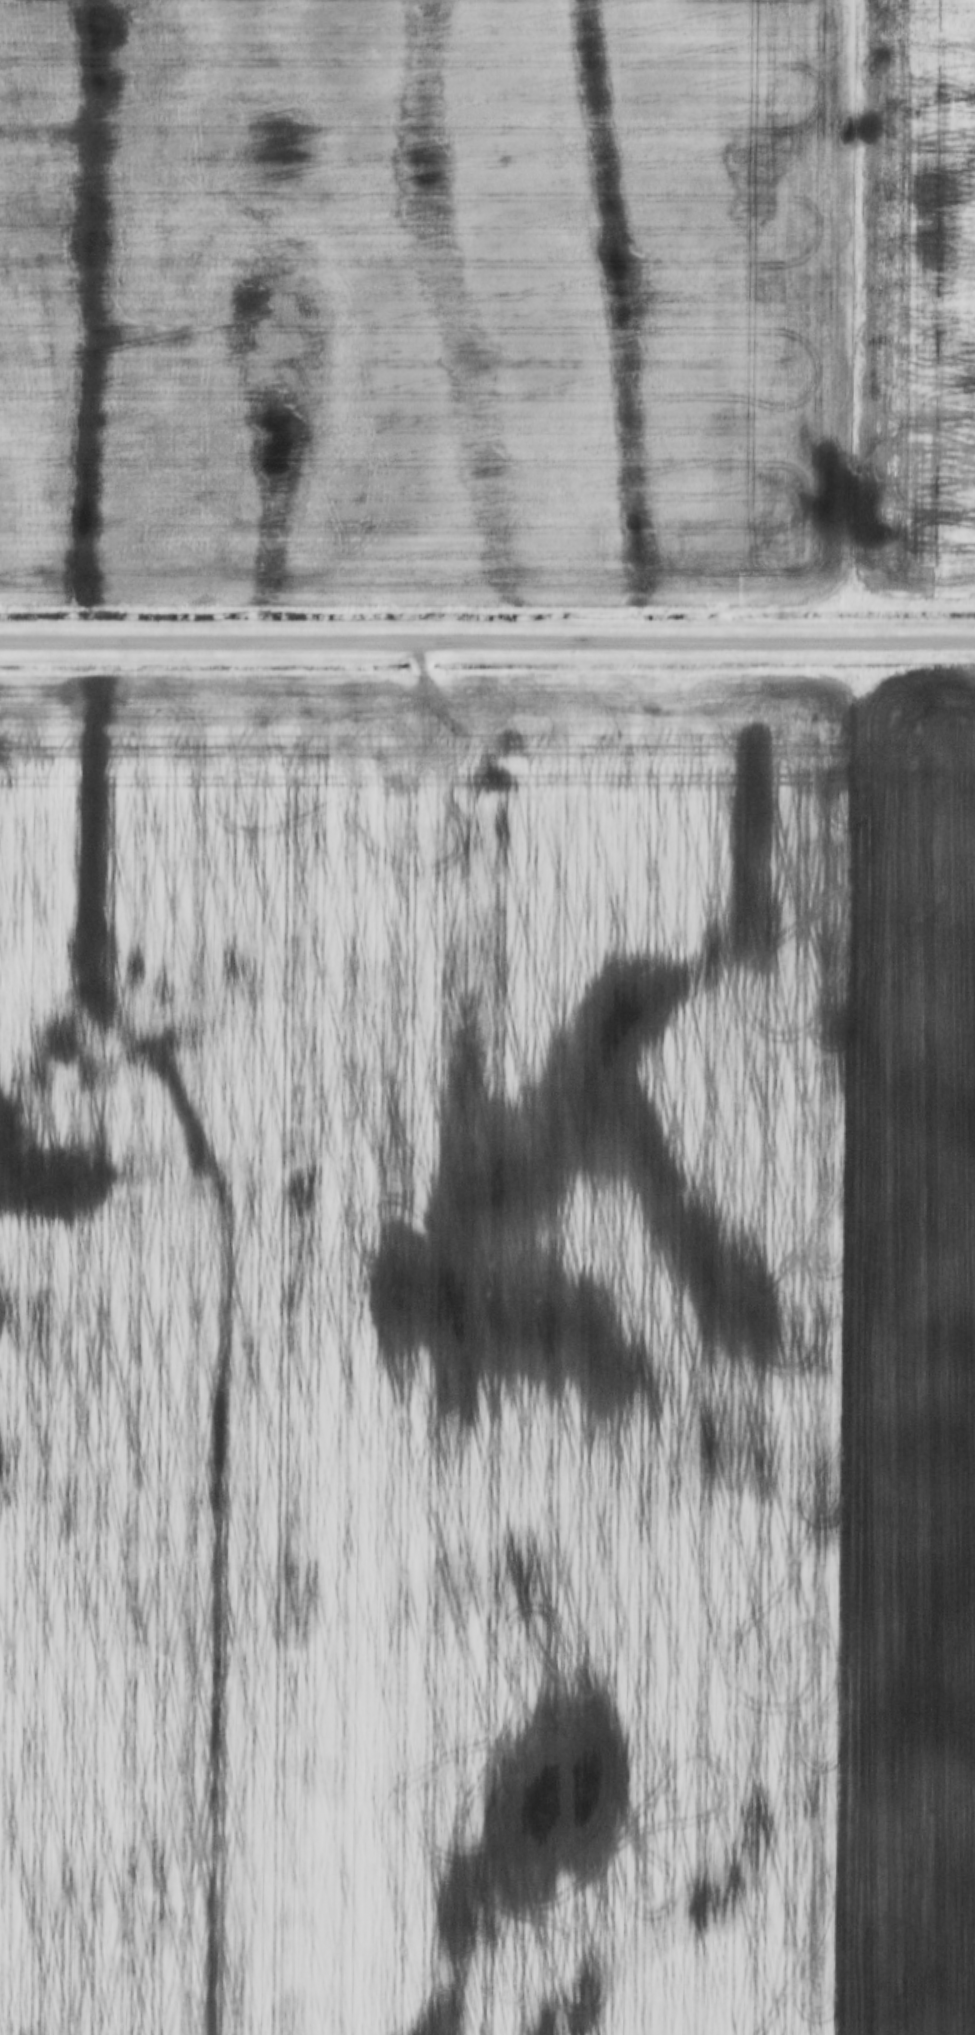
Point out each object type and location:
road: (487, 644)

